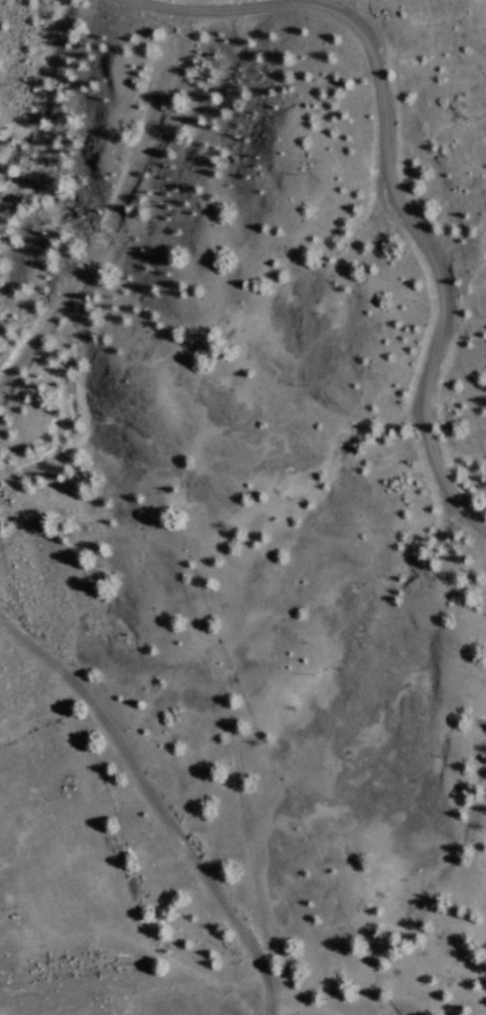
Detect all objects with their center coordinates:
road: (73, 176)
road: (182, 703)

